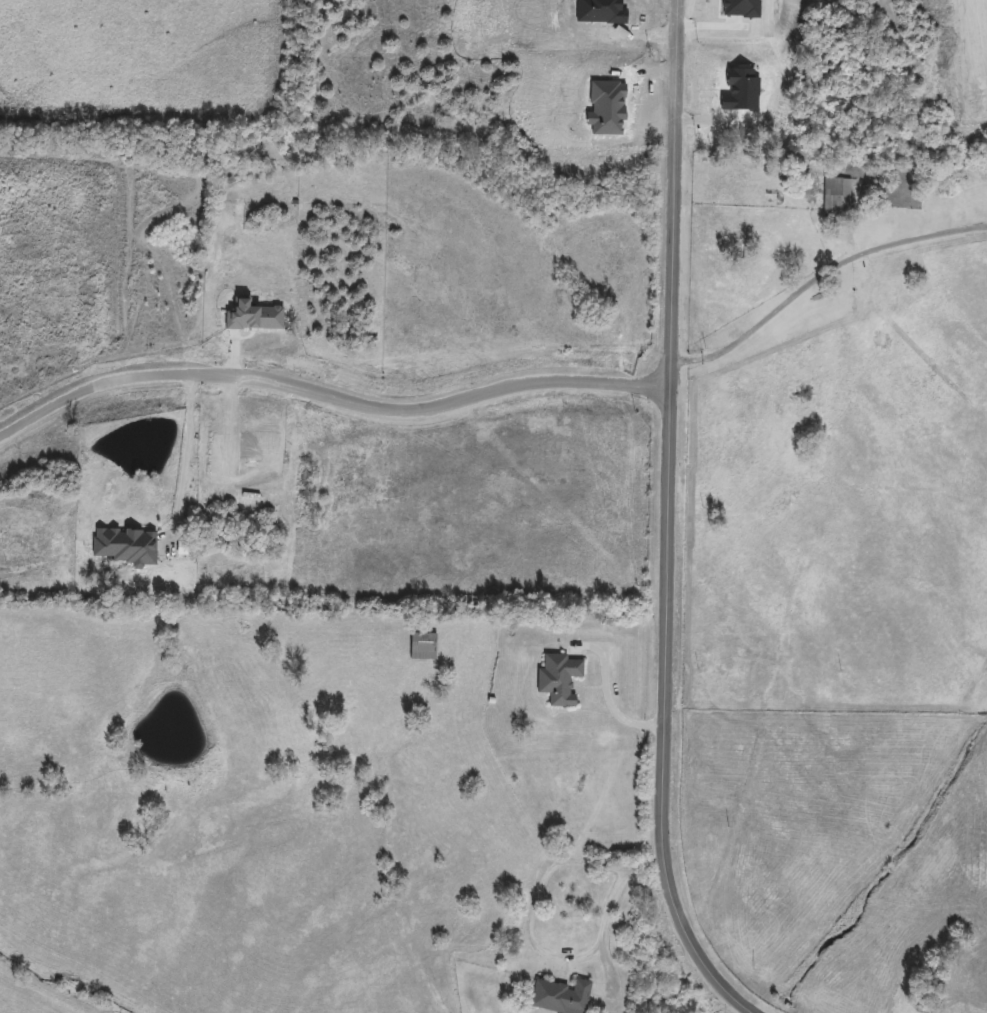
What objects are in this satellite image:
building: (837, 196)
road: (820, 277)
road: (330, 393)
road: (180, 458)
road: (667, 522)
building: (125, 545)
building: (424, 647)
building: (560, 679)
road: (608, 696)
road: (535, 902)
road: (609, 912)
building: (563, 997)

